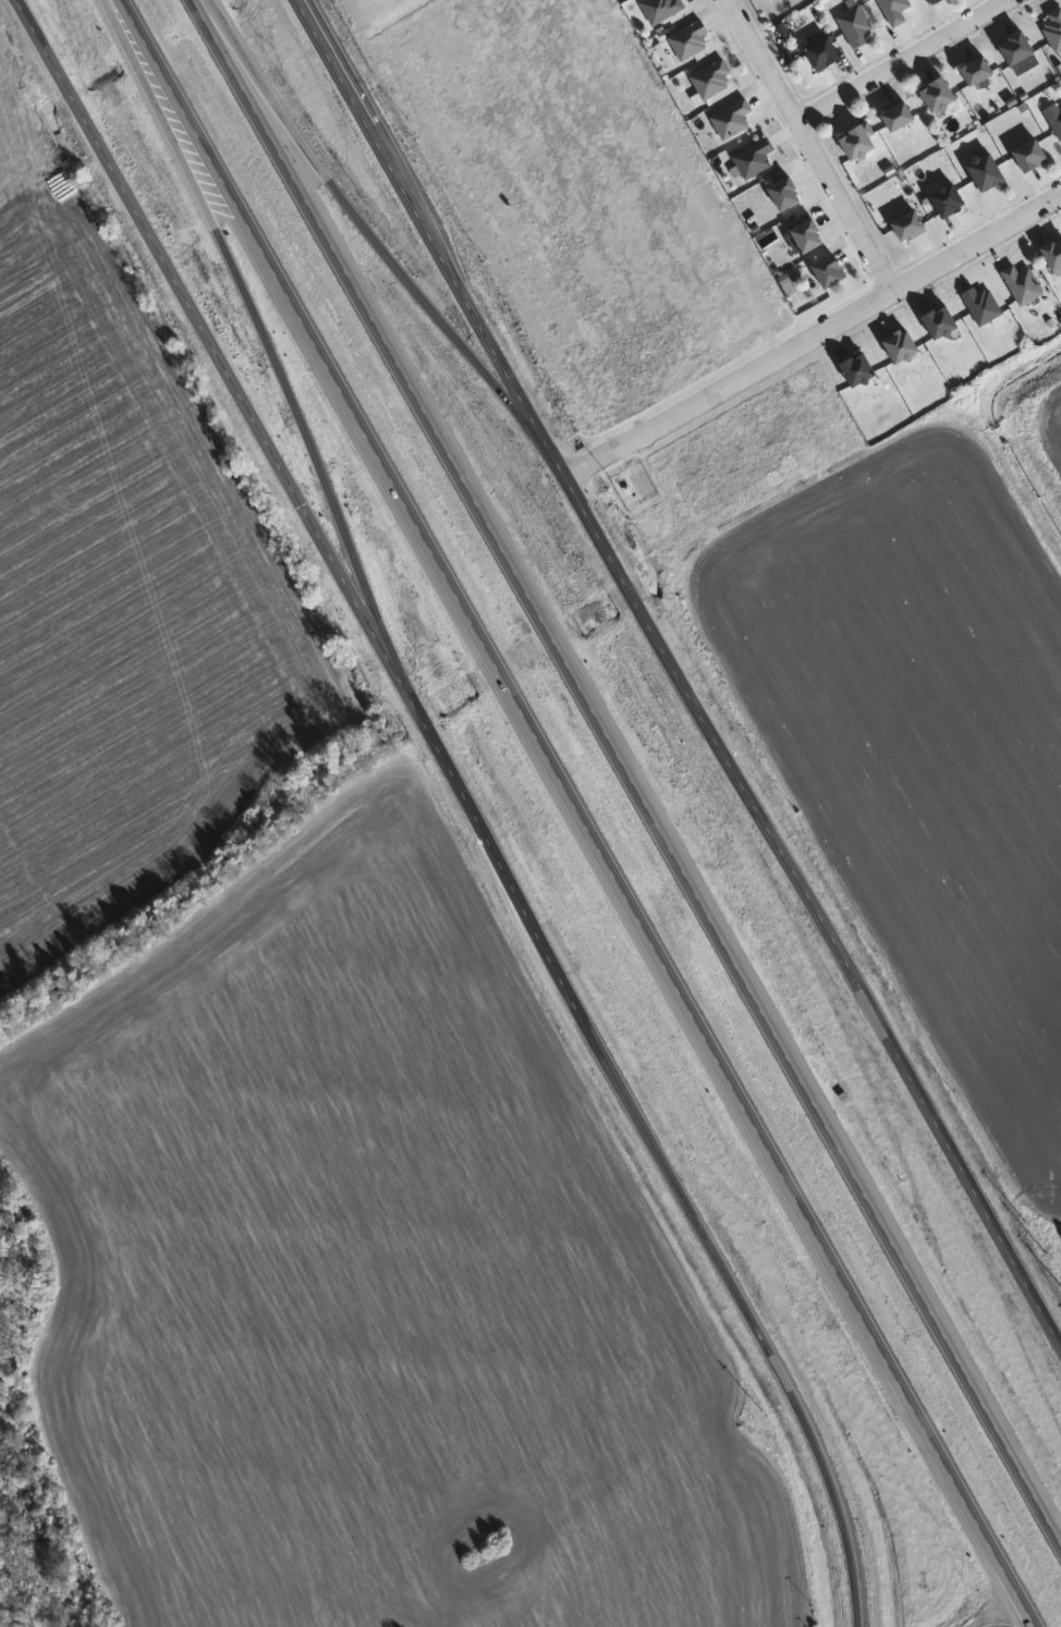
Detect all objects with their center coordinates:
road: (1016, 0)
building: (936, 1)
building: (666, 9)
building: (897, 10)
building: (858, 26)
building: (1053, 29)
building: (693, 41)
building: (1016, 49)
building: (825, 54)
road: (912, 61)
building: (979, 75)
building: (715, 81)
building: (939, 96)
building: (899, 118)
building: (1057, 119)
building: (734, 120)
building: (858, 144)
road: (817, 146)
building: (1030, 157)
building: (757, 159)
building: (987, 174)
building: (786, 195)
building: (949, 200)
road: (359, 218)
building: (910, 228)
building: (808, 237)
building: (1053, 257)
building: (830, 272)
building: (1024, 285)
road: (252, 304)
building: (984, 306)
building: (940, 323)
road: (814, 338)
building: (901, 347)
building: (858, 371)
road: (675, 673)
road: (626, 772)
road: (469, 802)
road: (578, 812)
road: (992, 1626)

